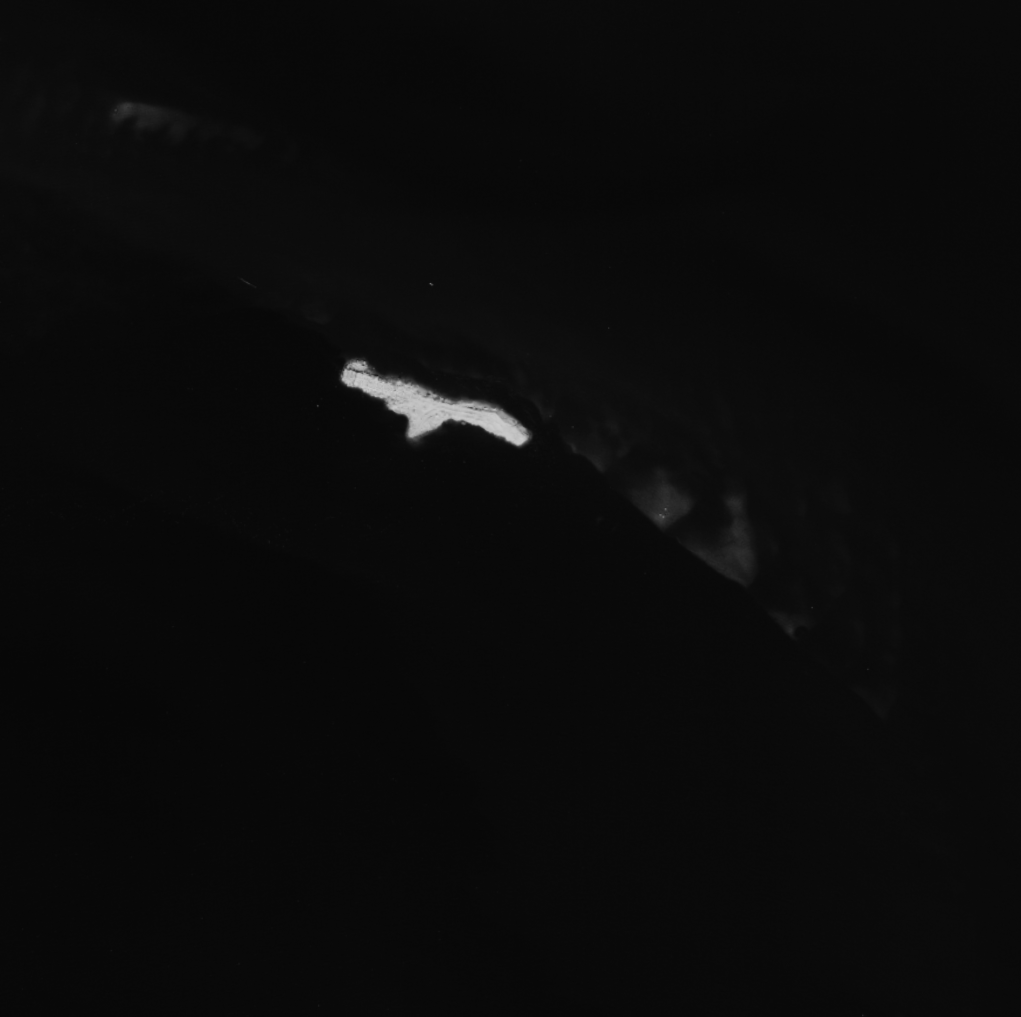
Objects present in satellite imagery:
river: (112, 945)

